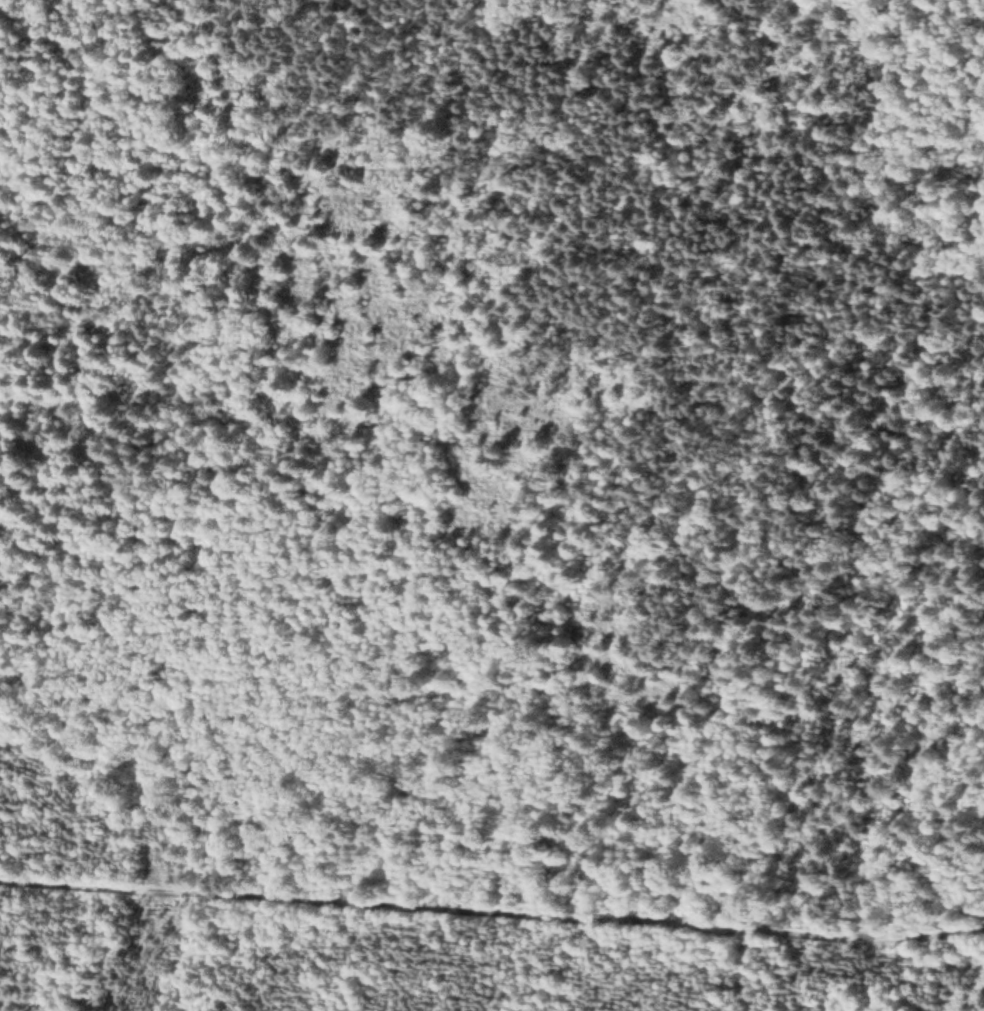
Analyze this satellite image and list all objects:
road: (491, 911)

